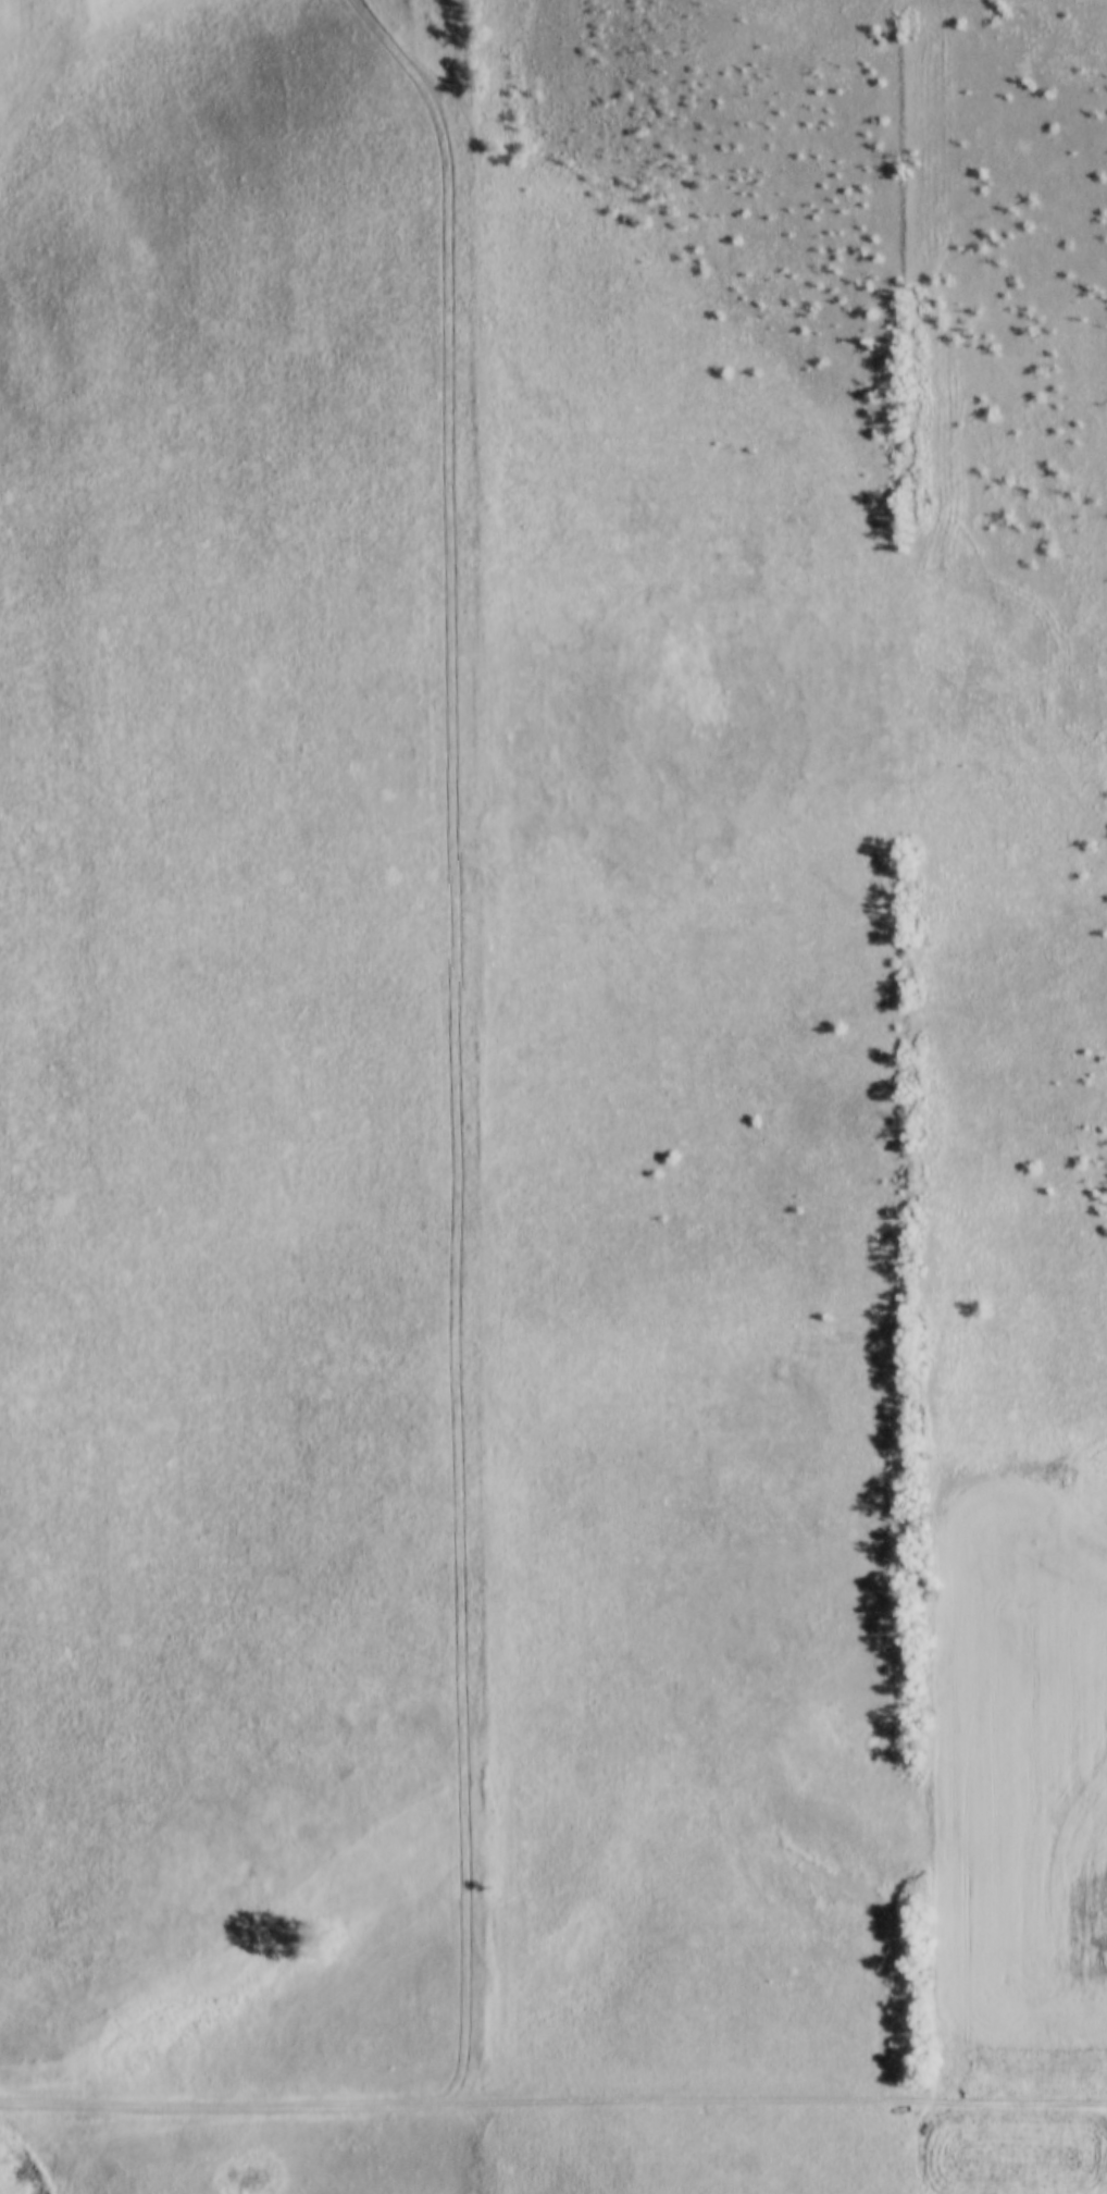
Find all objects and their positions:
road: (552, 2103)

